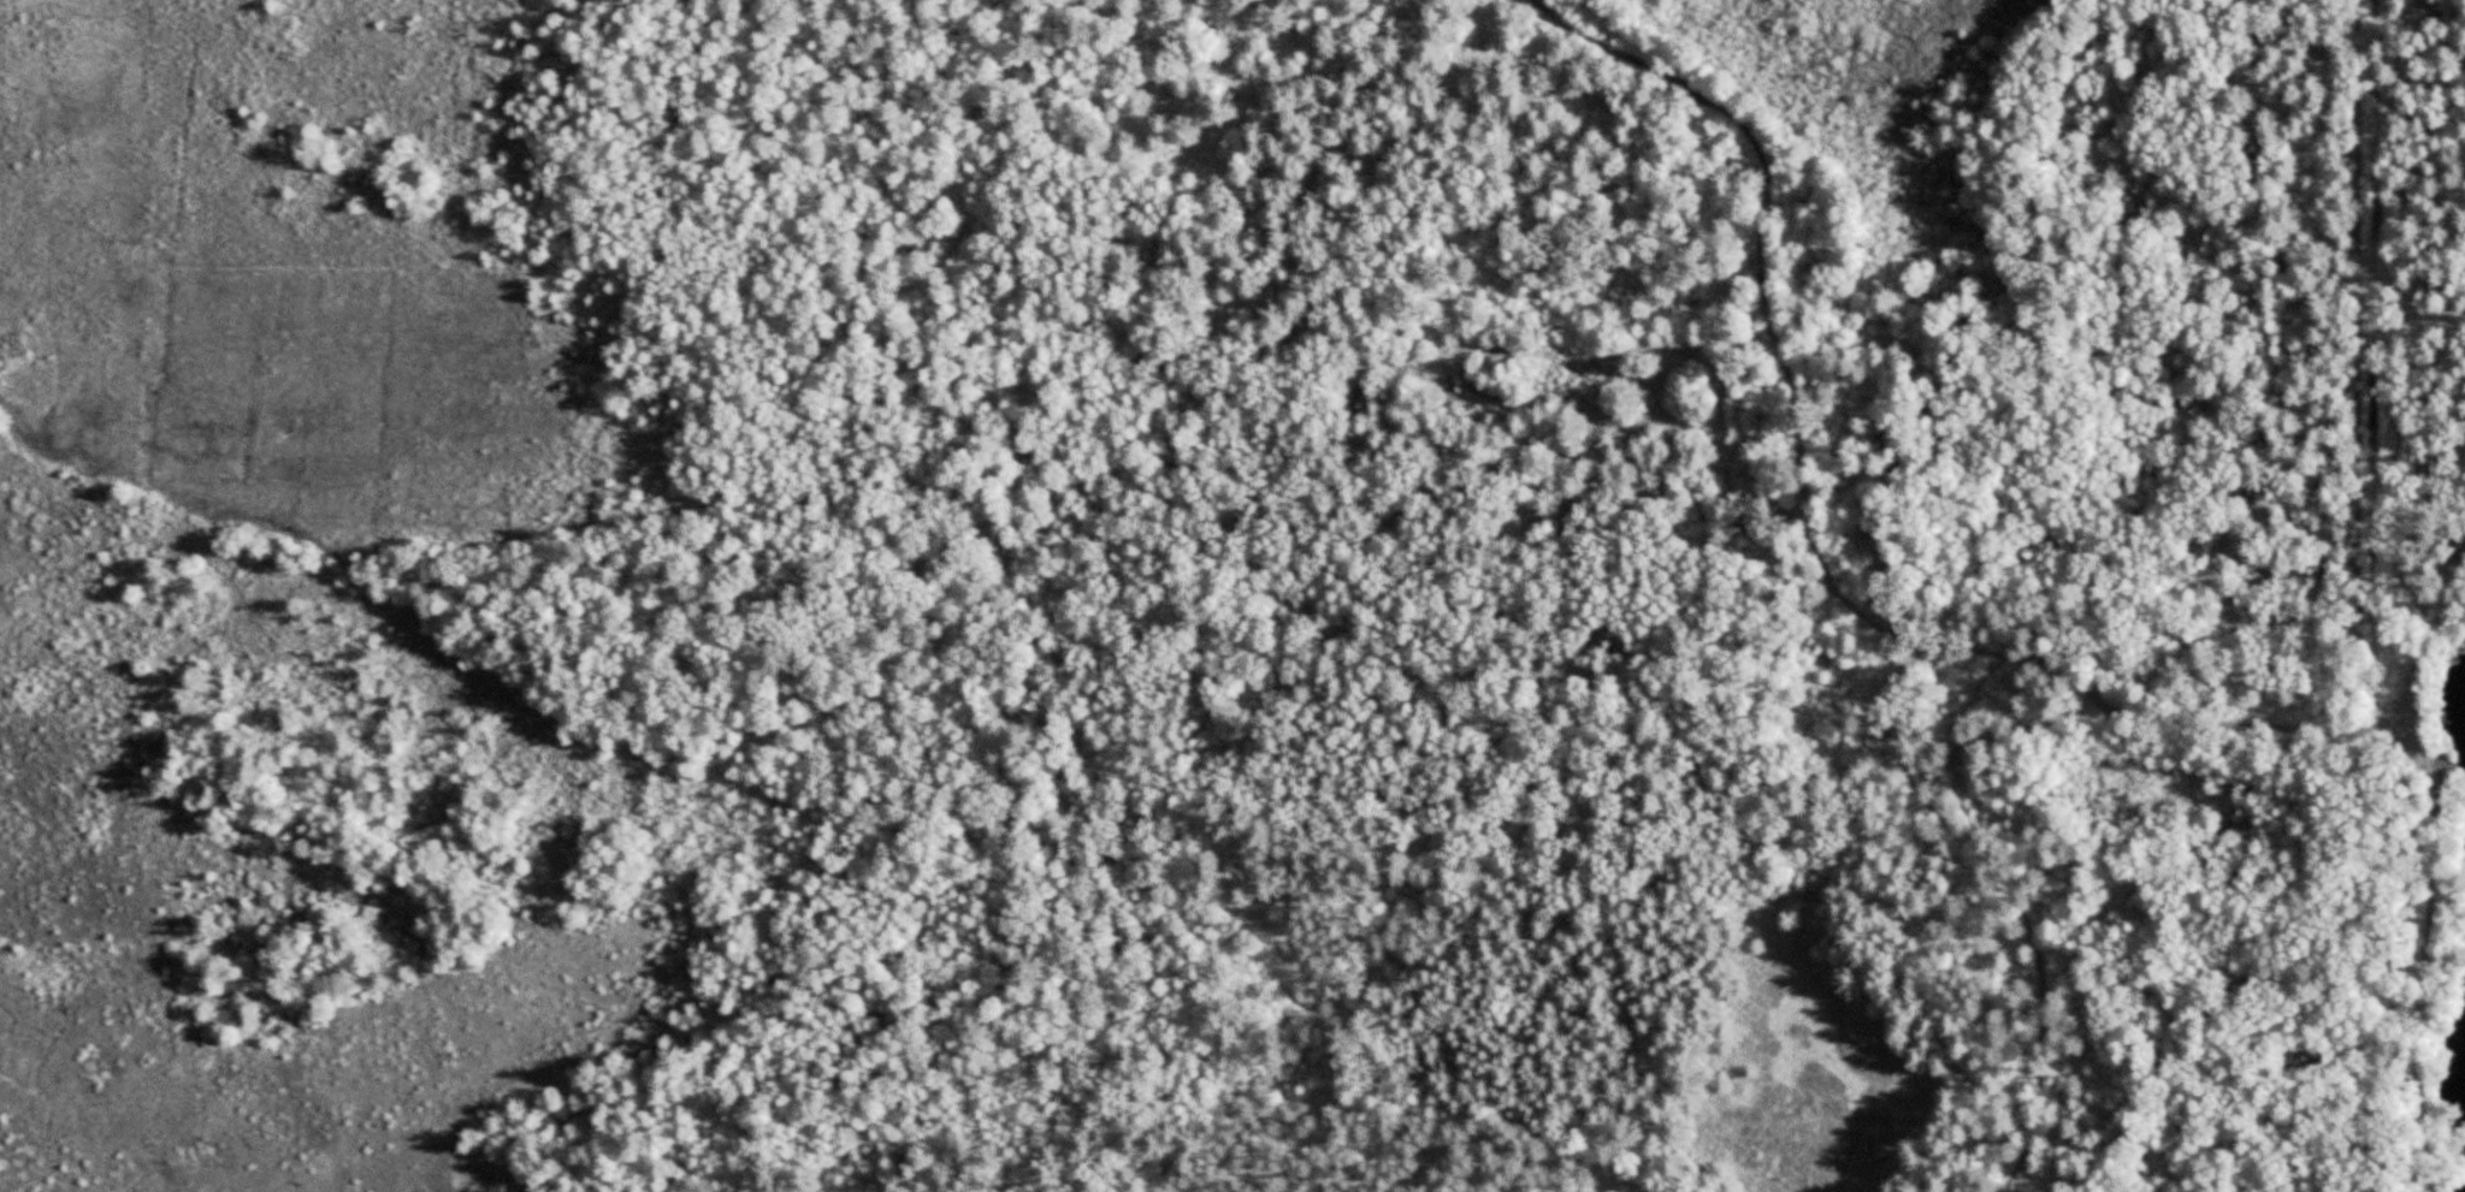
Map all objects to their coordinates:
road: (2376, 595)

